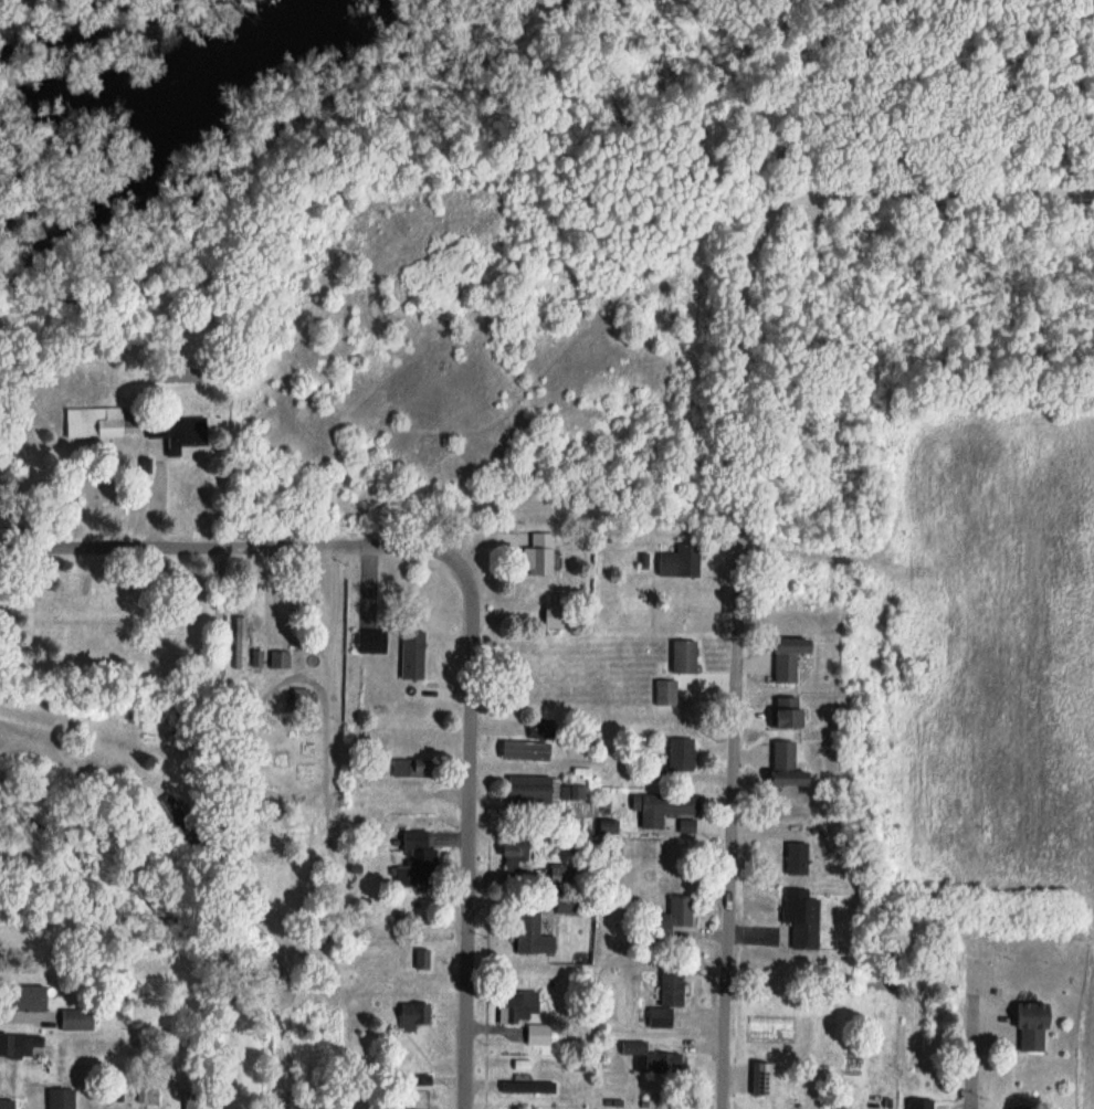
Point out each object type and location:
river: (105, 93)
river: (166, 144)
road: (806, 182)
road: (886, 188)
building: (99, 423)
building: (175, 434)
road: (229, 547)
building: (537, 556)
building: (679, 562)
building: (550, 617)
building: (369, 644)
road: (341, 646)
building: (239, 653)
building: (682, 656)
building: (783, 656)
building: (408, 658)
building: (280, 661)
building: (664, 691)
road: (735, 703)
building: (782, 711)
building: (523, 750)
building: (679, 753)
building: (781, 765)
building: (417, 768)
building: (526, 789)
building: (661, 806)
building: (606, 826)
road: (471, 832)
building: (511, 856)
building: (413, 858)
building: (796, 858)
building: (558, 872)
building: (562, 905)
building: (671, 918)
building: (800, 918)
building: (529, 933)
building: (421, 959)
building: (670, 985)
building: (24, 997)
building: (515, 1005)
building: (412, 1014)
building: (659, 1017)
building: (72, 1018)
building: (1029, 1025)
building: (537, 1034)
building: (17, 1045)
road: (972, 1049)
building: (651, 1059)
building: (761, 1079)
building: (526, 1087)
building: (57, 1098)
building: (11, 1103)
building: (917, 1103)
building: (1021, 1108)

